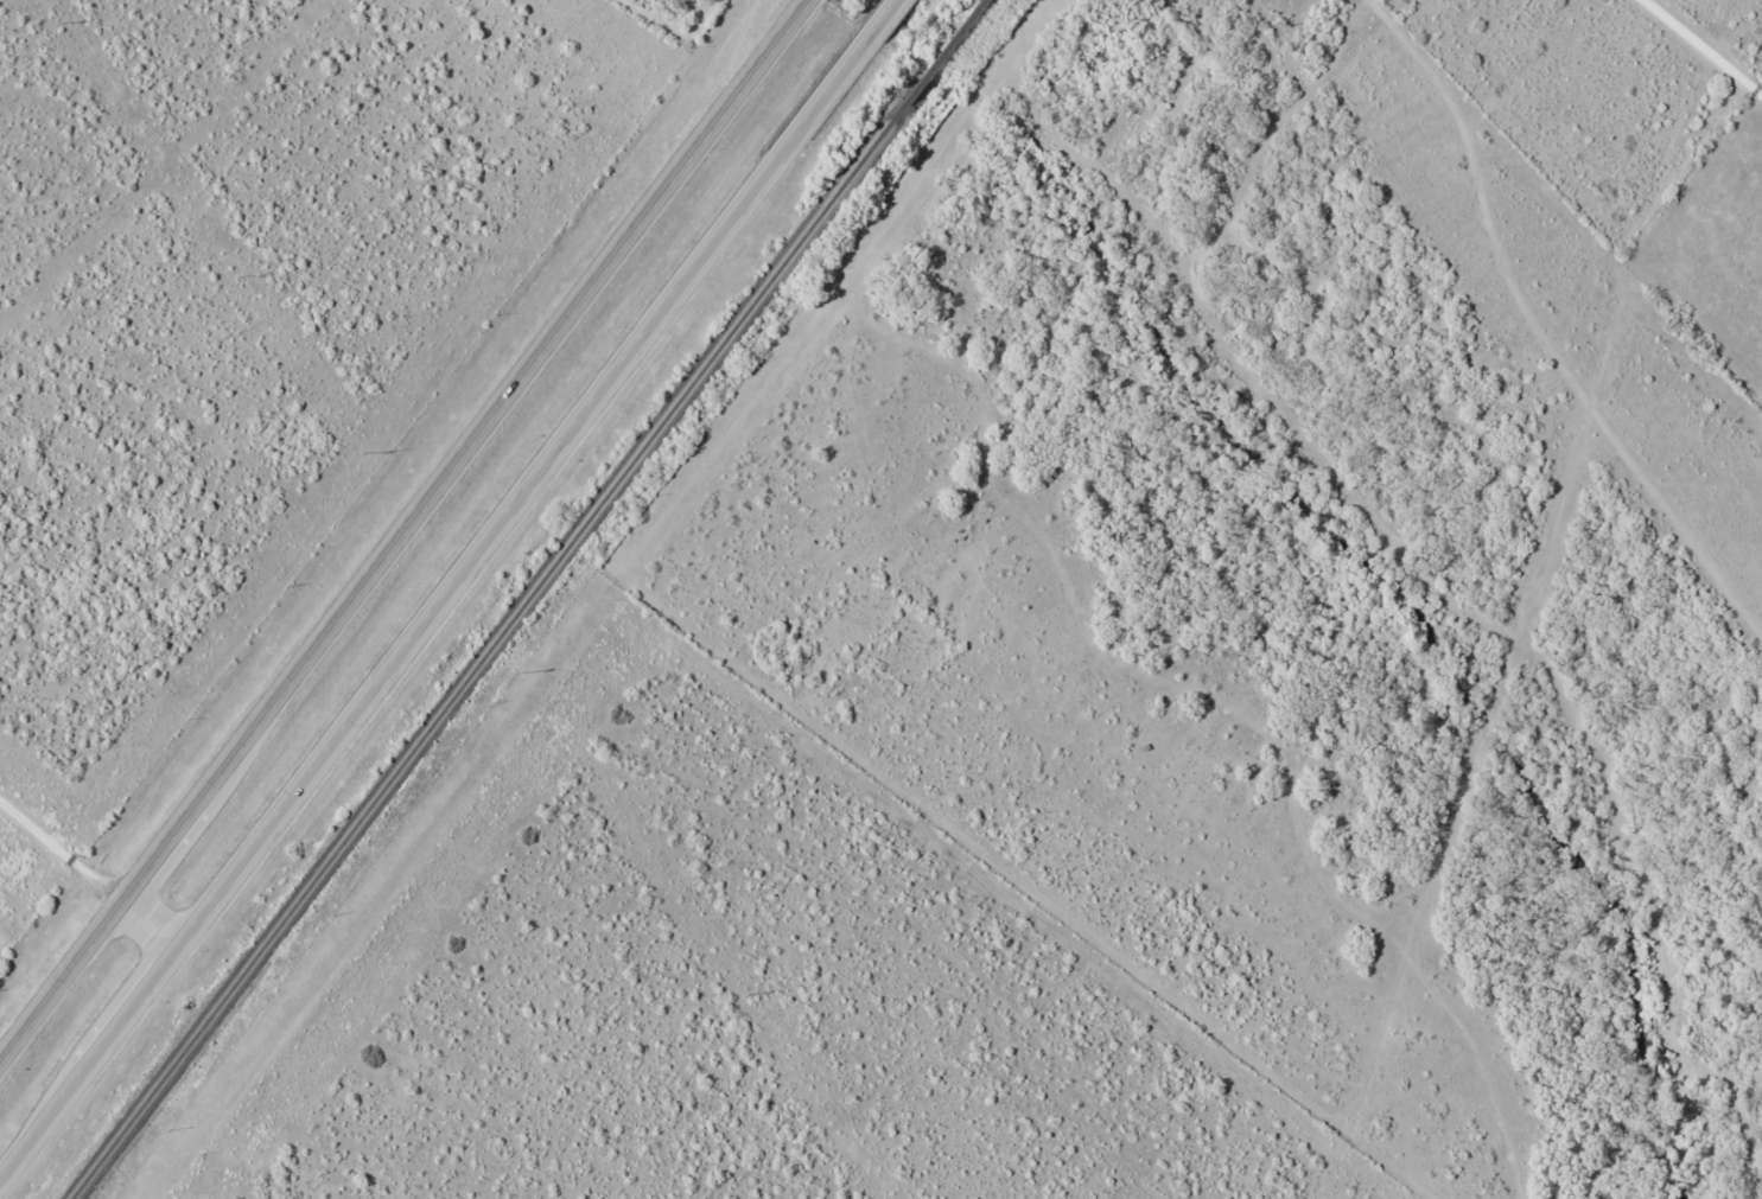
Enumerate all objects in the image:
road: (1698, 51)
road: (1541, 331)
road: (799, 377)
road: (407, 537)
road: (449, 588)
railway: (534, 599)
road: (89, 870)

